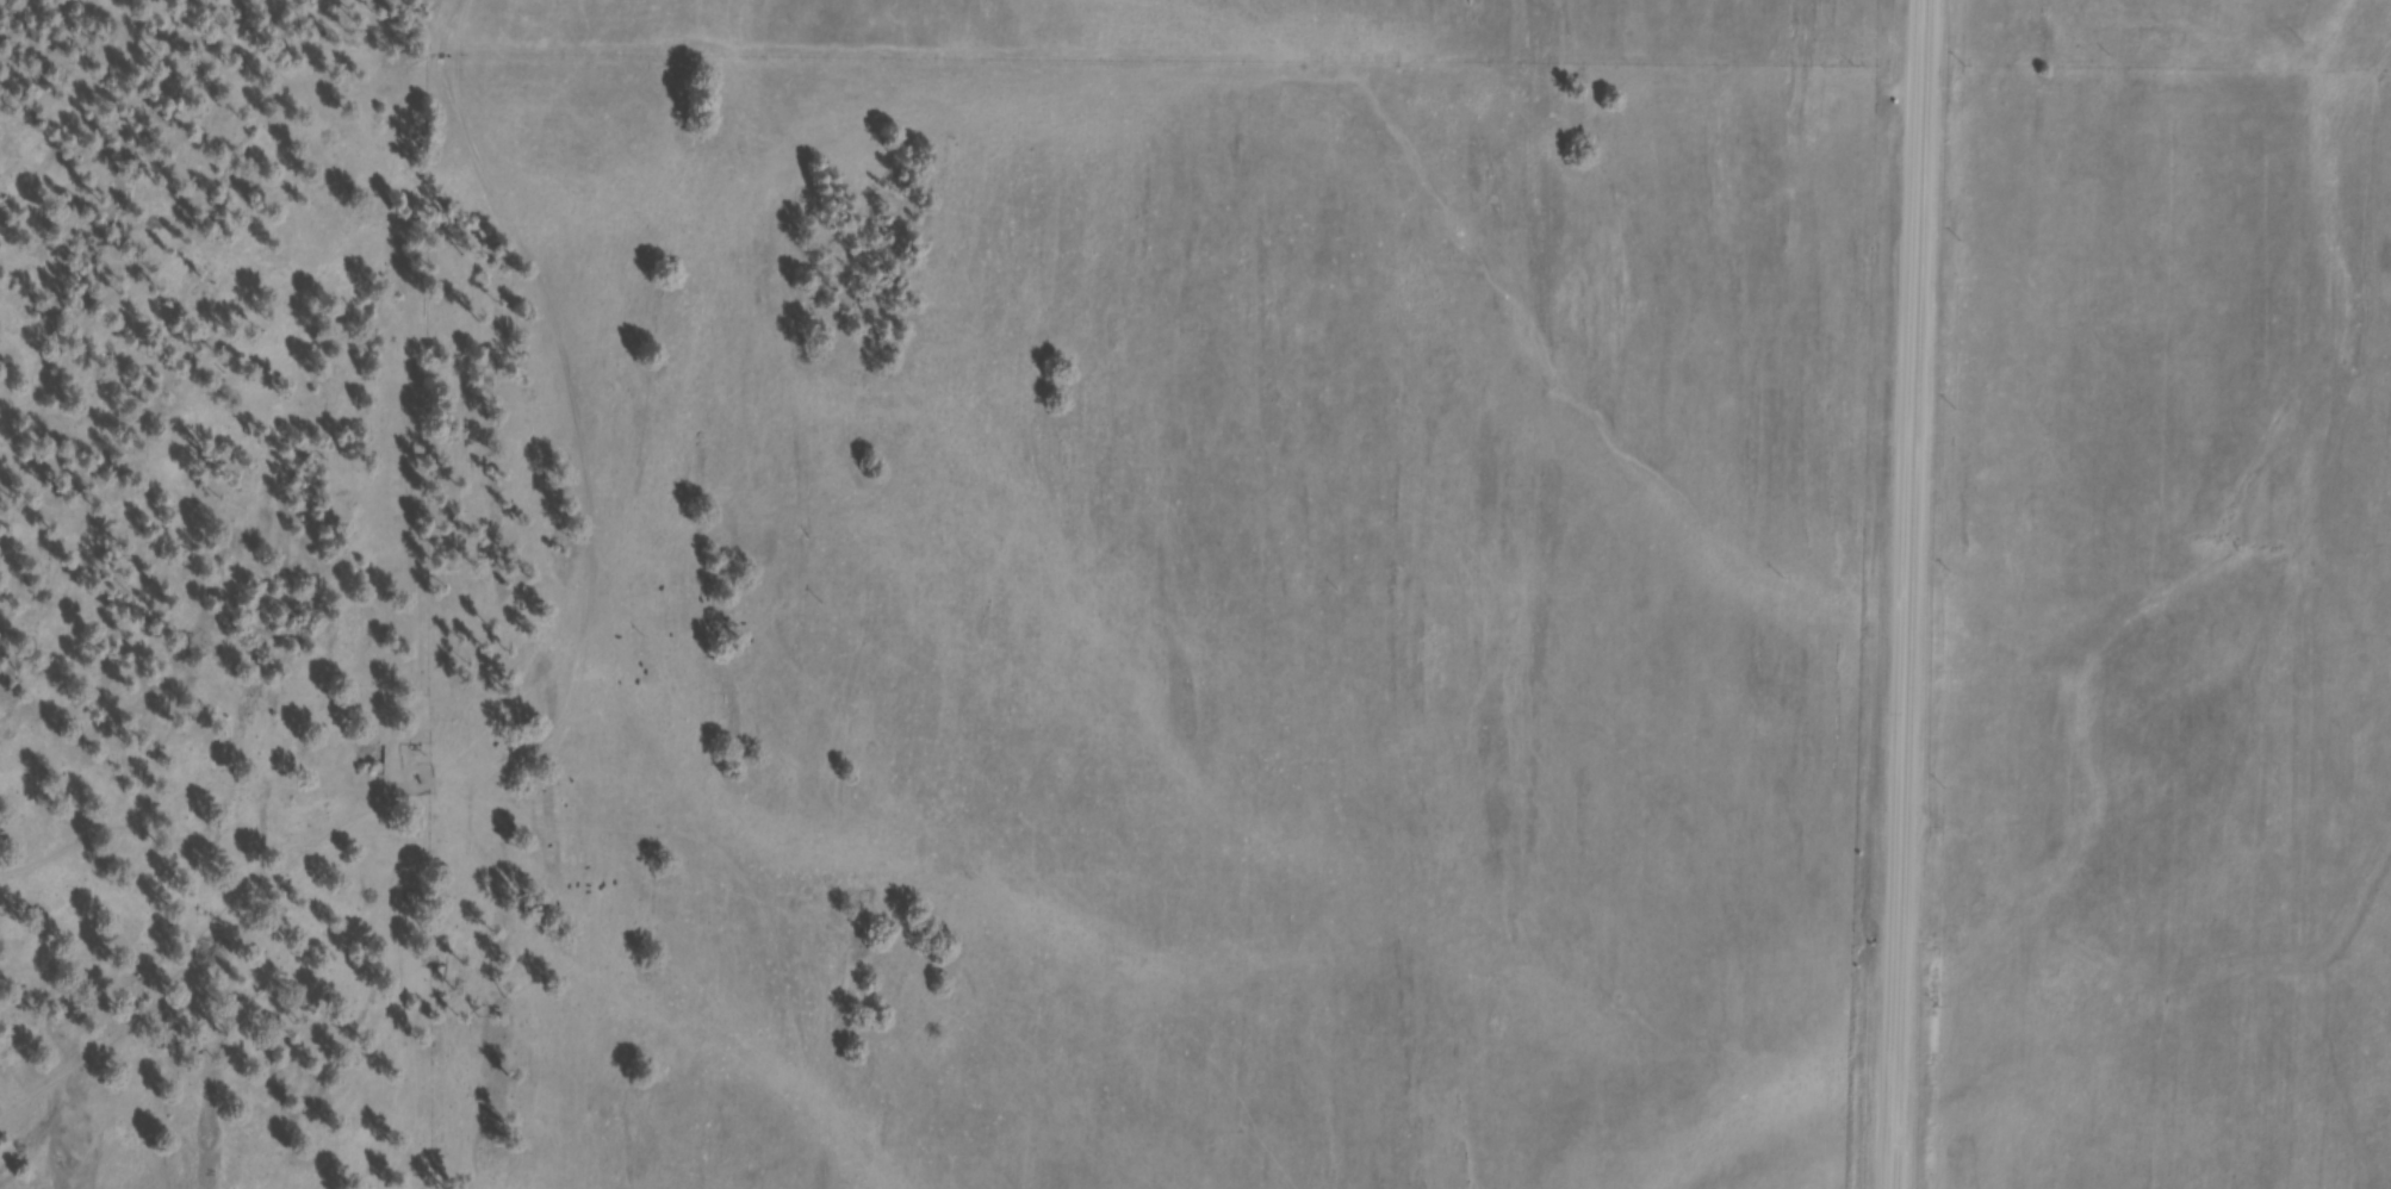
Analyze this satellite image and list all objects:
road: (1908, 594)

